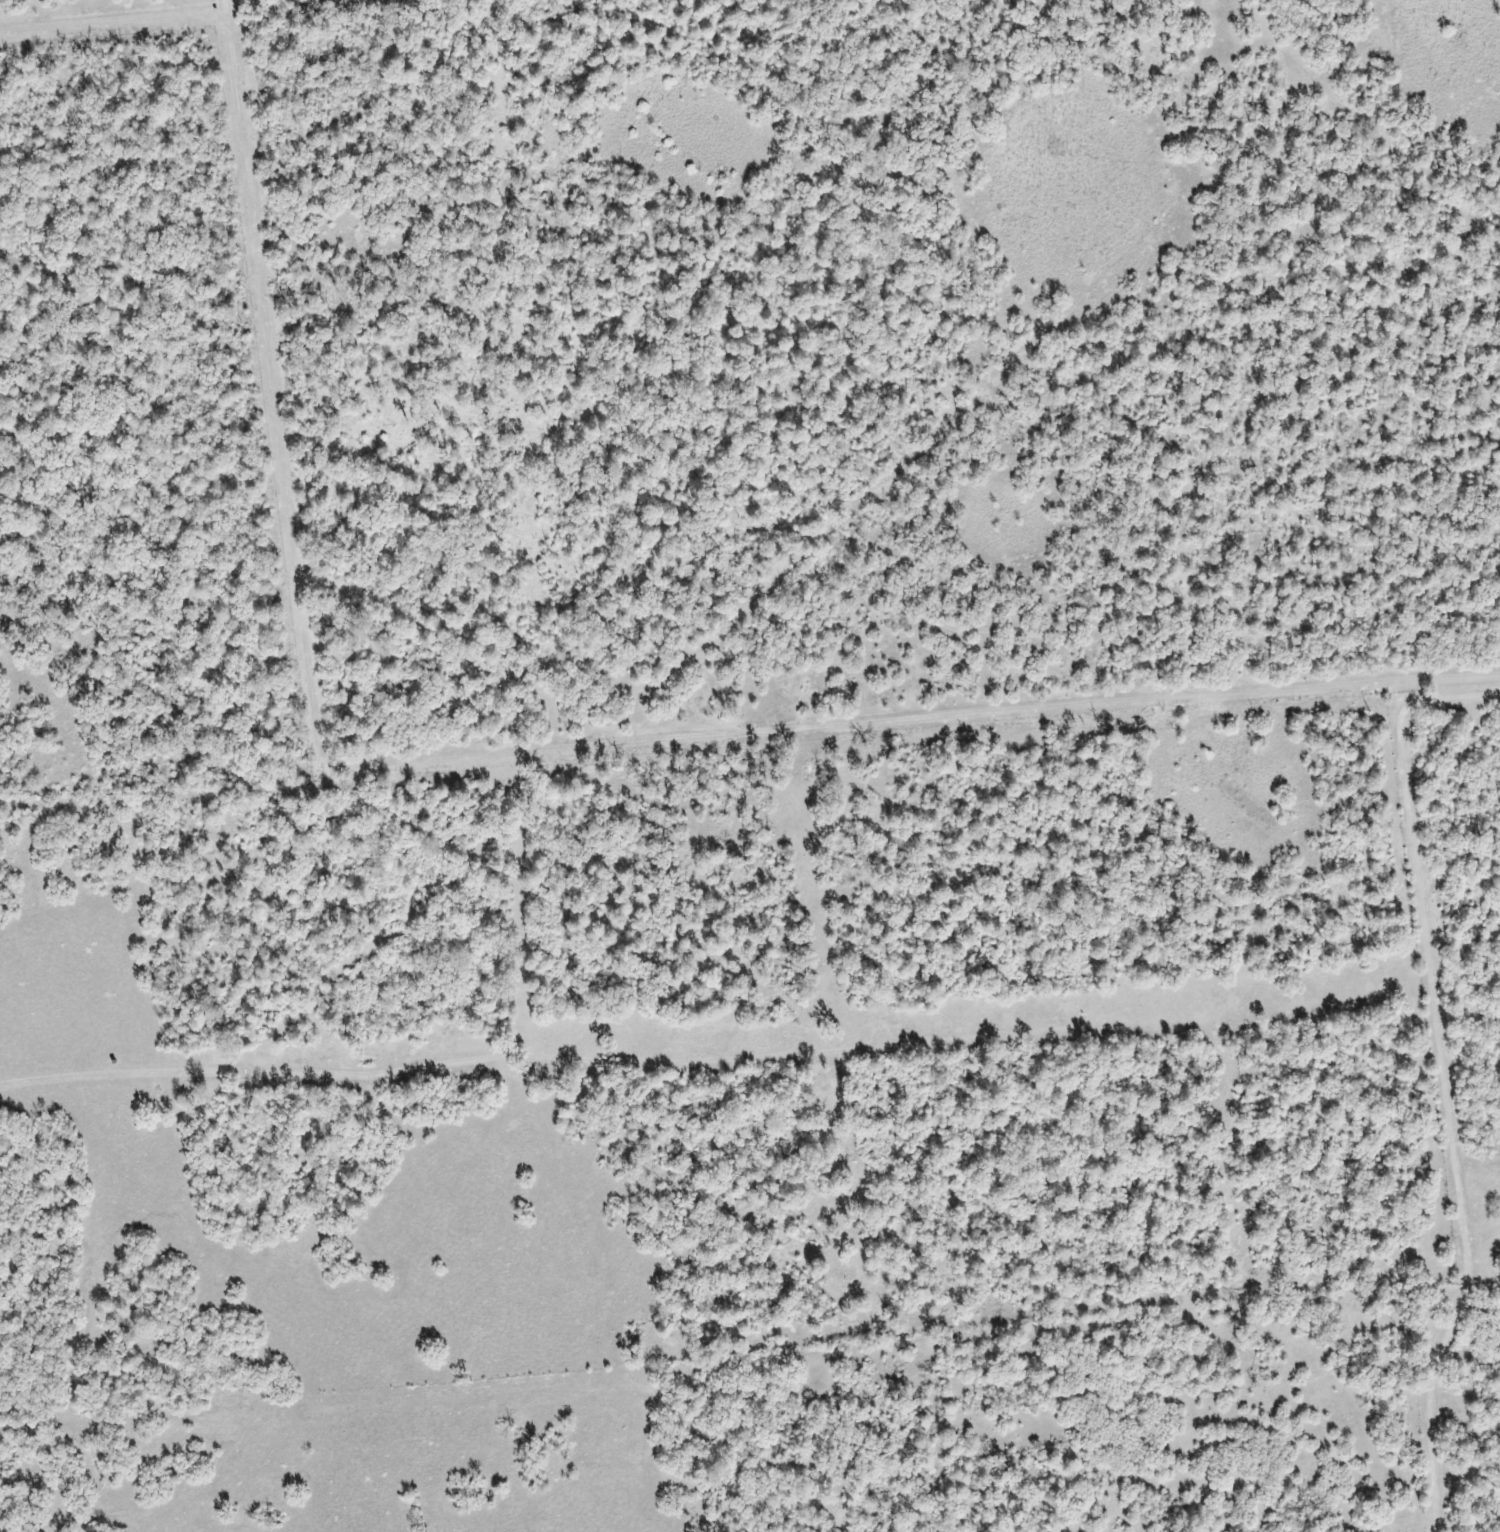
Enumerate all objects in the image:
road: (750, 1197)

